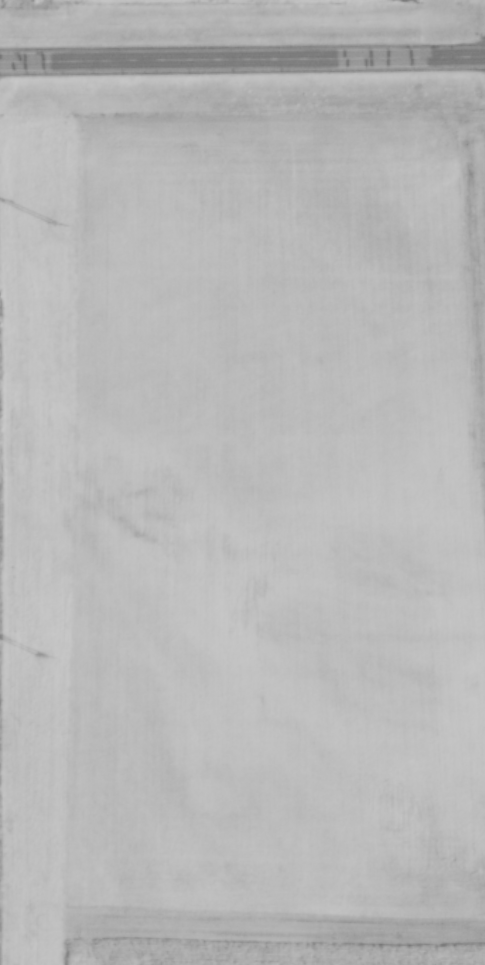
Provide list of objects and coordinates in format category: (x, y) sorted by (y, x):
road: (242, 55)
power tower: (53, 226)
power tower: (39, 657)

